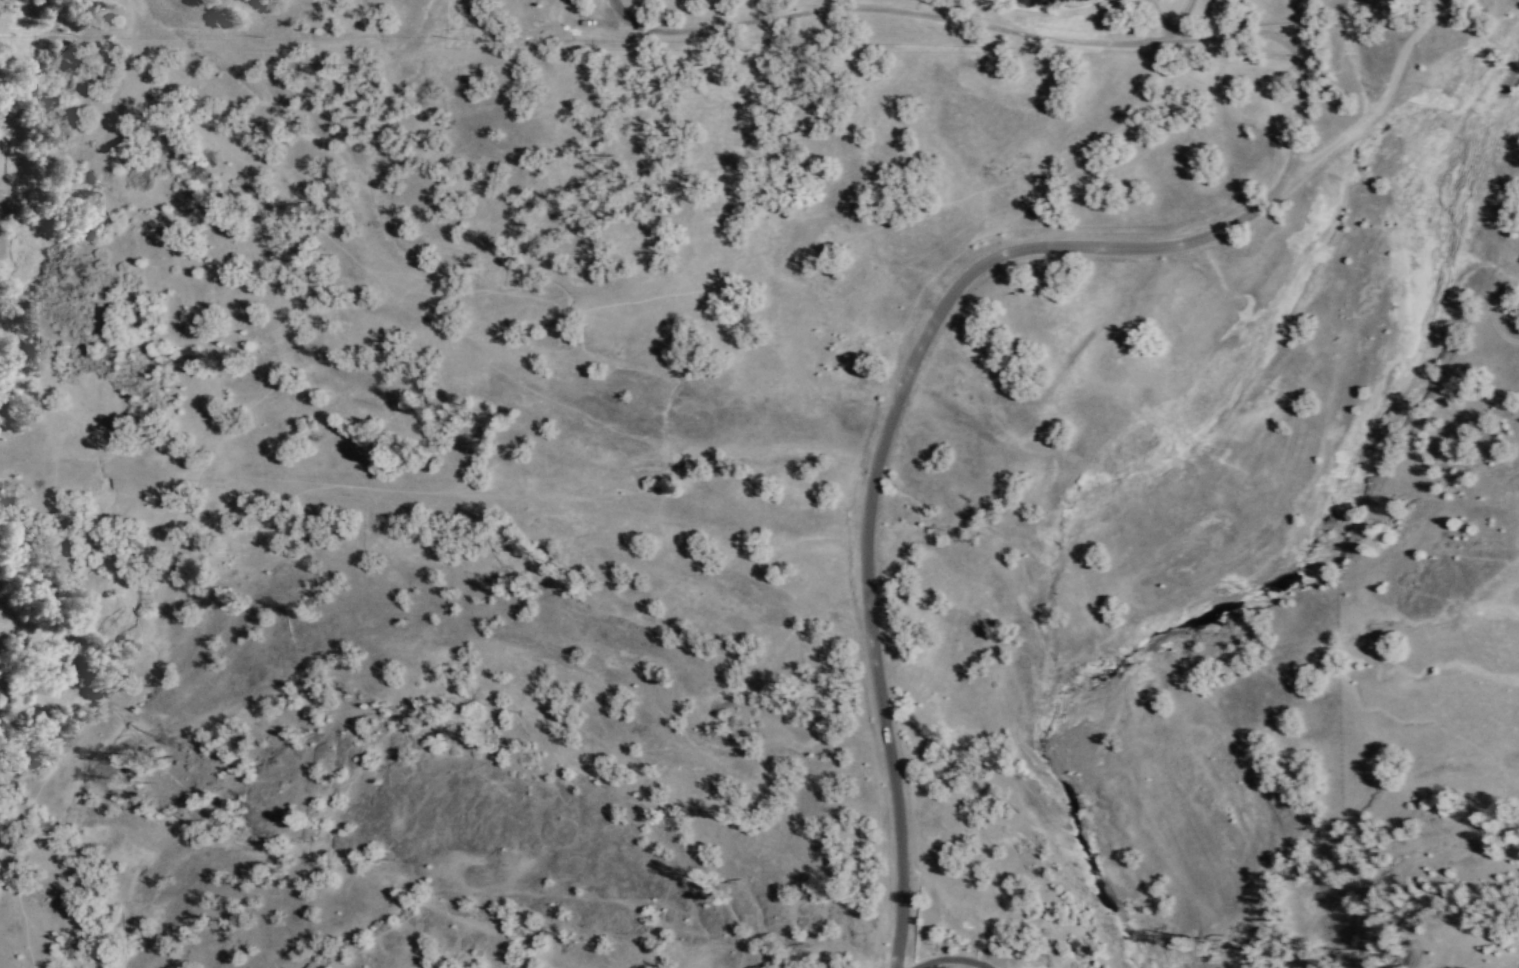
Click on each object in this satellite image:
road: (1179, 14)
road: (1157, 15)
road: (960, 18)
road: (1168, 36)
road: (1307, 84)
road: (941, 325)
road: (950, 957)

